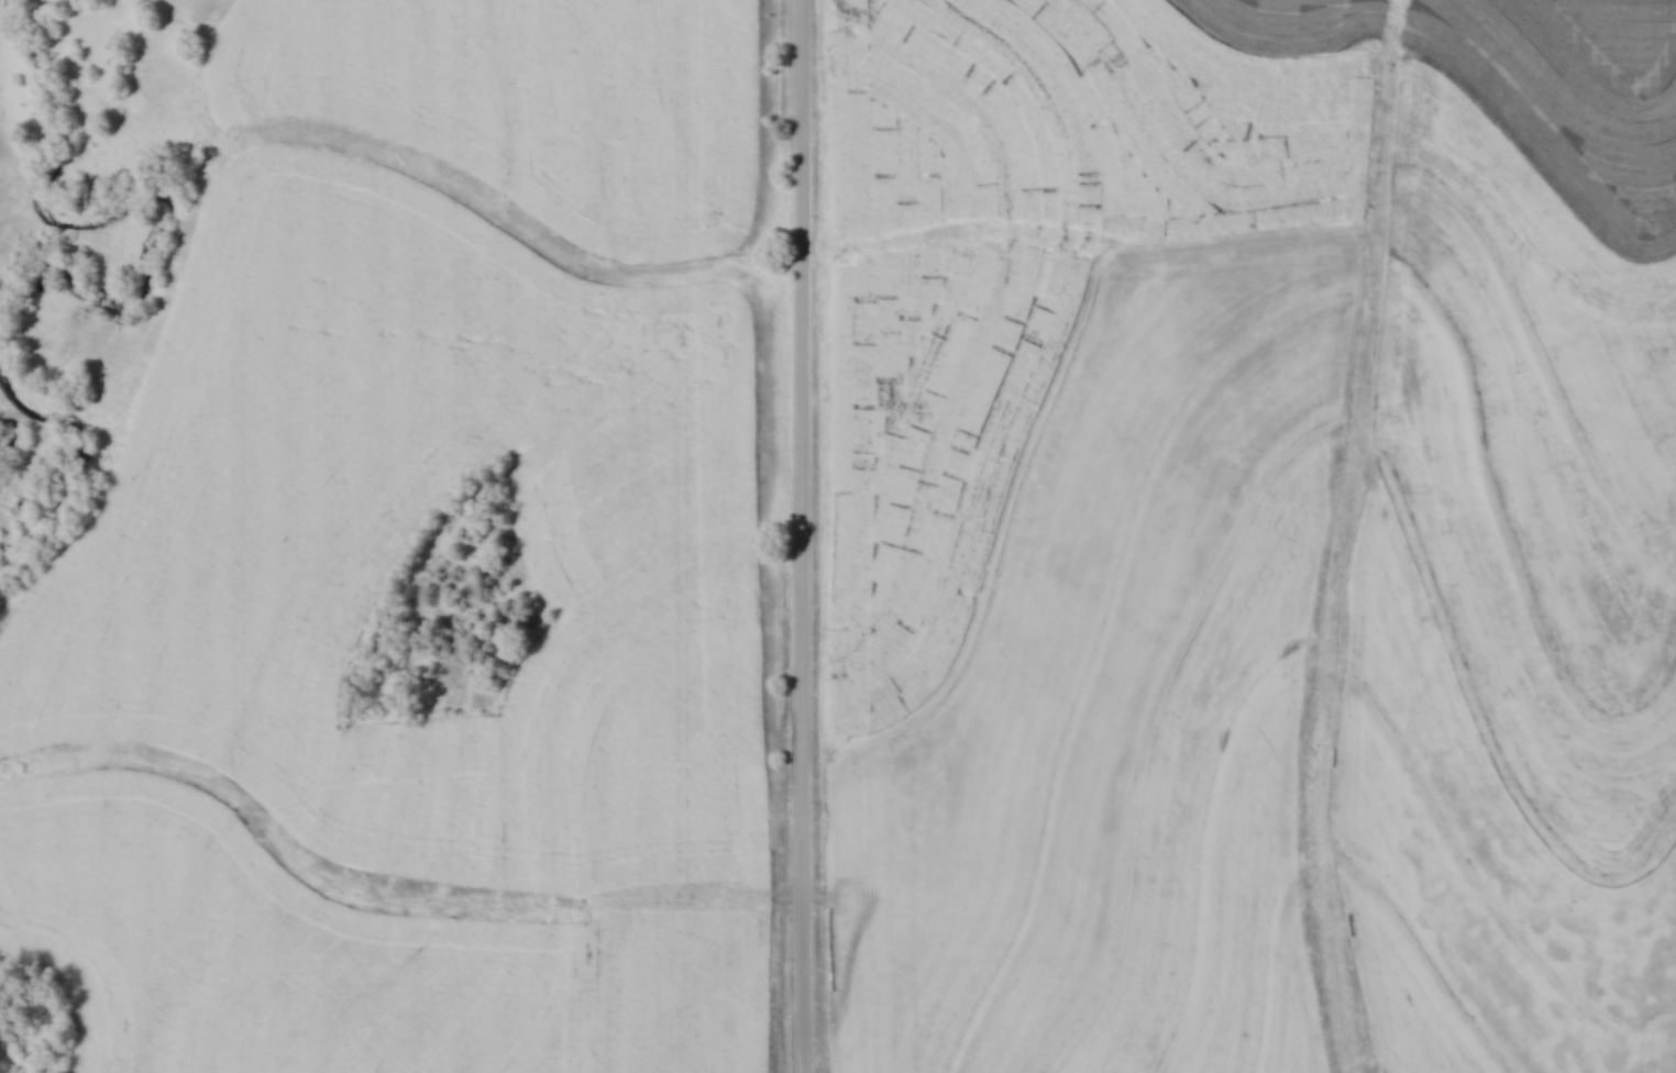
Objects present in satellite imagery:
road: (805, 536)

